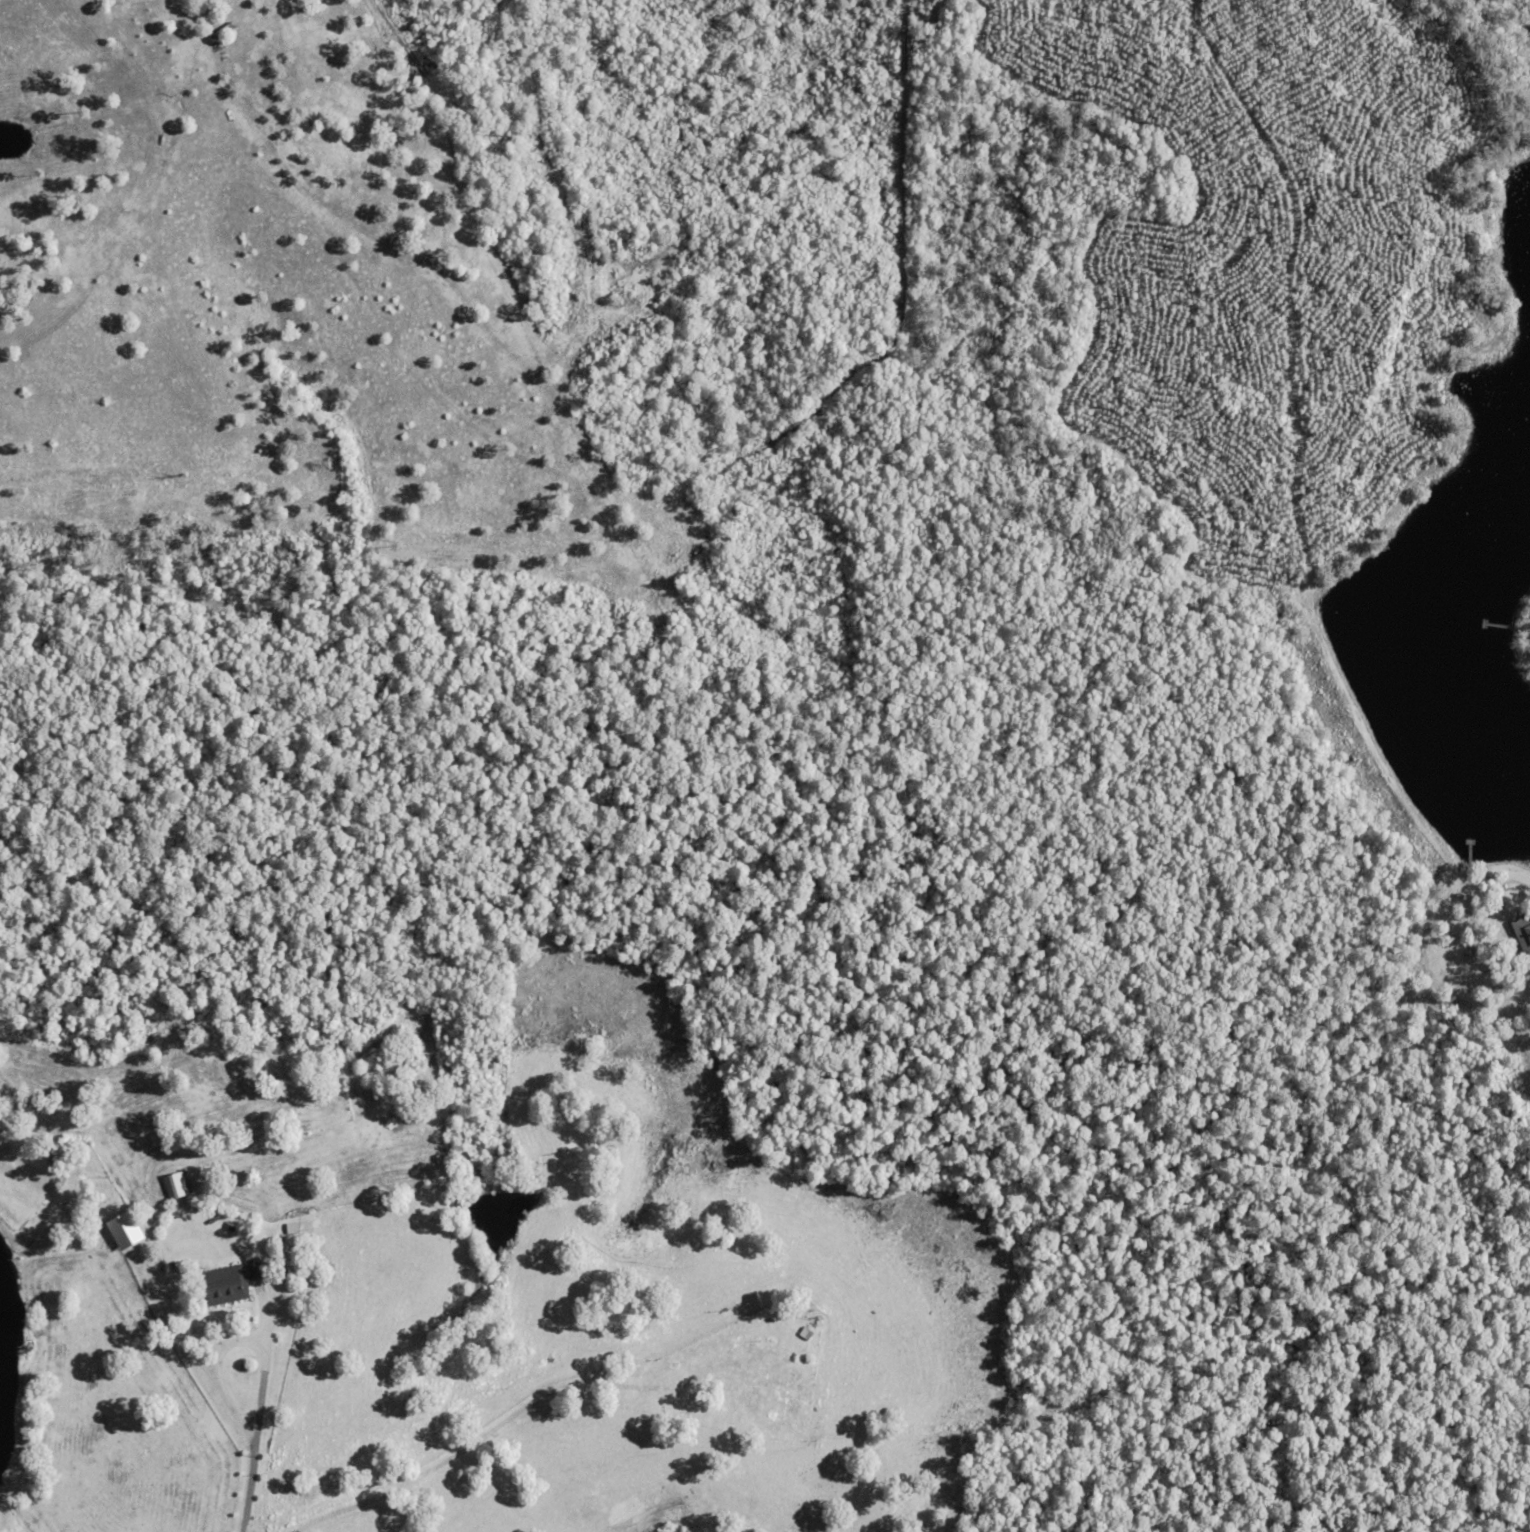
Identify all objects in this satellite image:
building: (1522, 933)
building: (228, 1282)
road: (174, 1328)
road: (265, 1332)
road: (218, 1378)
road: (253, 1450)

